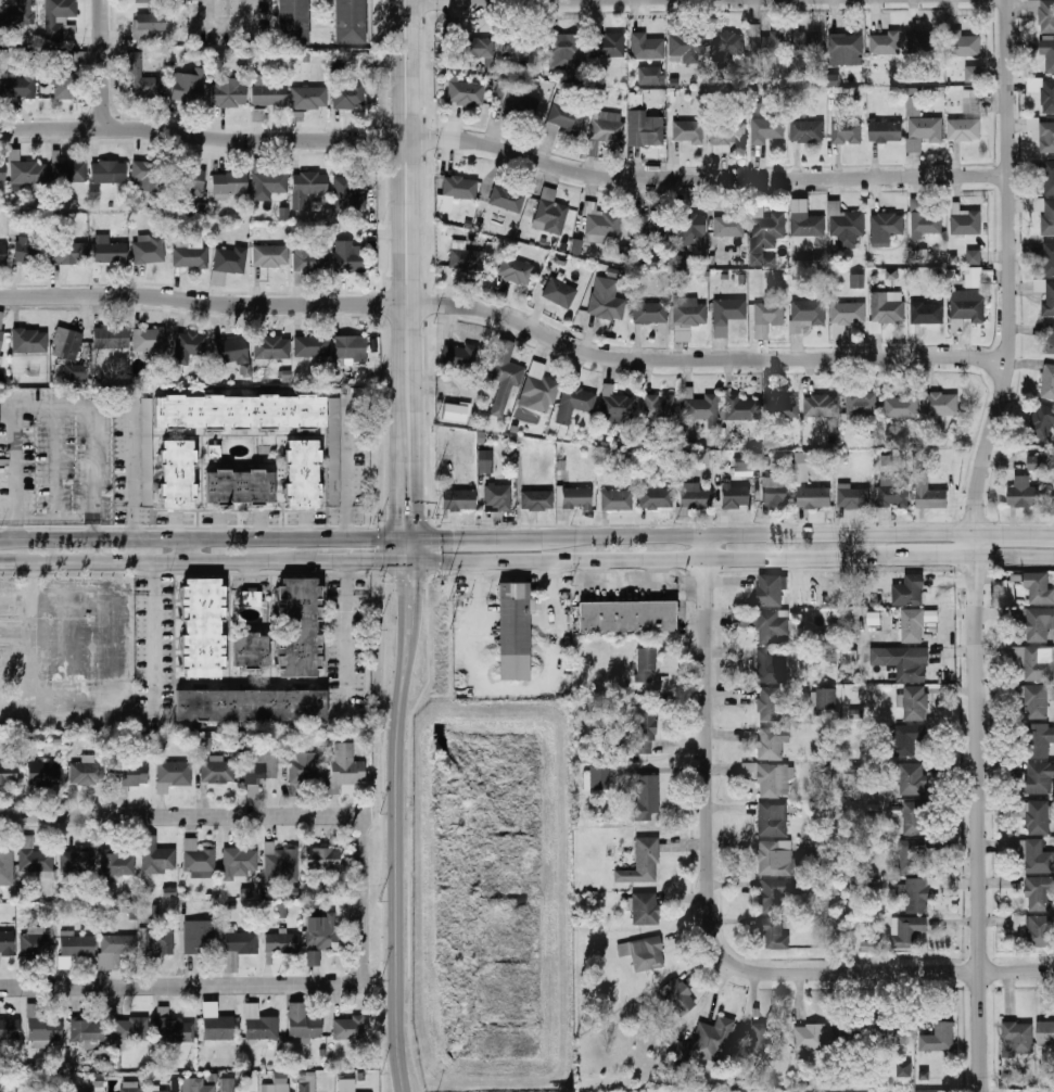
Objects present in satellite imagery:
road: (412, 0)
building: (144, 1)
building: (17, 12)
building: (1043, 13)
building: (60, 18)
building: (291, 18)
building: (347, 20)
road: (234, 26)
building: (149, 30)
building: (725, 41)
building: (805, 42)
building: (886, 42)
building: (926, 42)
building: (518, 43)
building: (846, 43)
building: (963, 43)
building: (607, 45)
building: (687, 45)
building: (766, 45)
building: (647, 47)
building: (463, 51)
building: (563, 51)
building: (1042, 56)
building: (3, 59)
road: (106, 64)
building: (973, 73)
building: (66, 75)
building: (651, 76)
building: (141, 79)
building: (18, 87)
building: (188, 88)
building: (1043, 91)
building: (229, 92)
building: (268, 92)
building: (466, 93)
building: (500, 93)
building: (348, 97)
building: (309, 98)
building: (520, 101)
building: (970, 101)
building: (258, 115)
building: (563, 116)
building: (920, 126)
building: (646, 129)
building: (769, 129)
building: (964, 129)
building: (608, 130)
building: (808, 130)
building: (887, 130)
building: (728, 131)
building: (689, 132)
building: (847, 132)
road: (201, 135)
building: (1046, 137)
building: (69, 172)
building: (2, 173)
building: (28, 173)
building: (109, 173)
building: (147, 173)
building: (1049, 177)
road: (701, 178)
building: (189, 181)
building: (230, 182)
building: (268, 183)
building: (308, 186)
building: (456, 192)
building: (347, 195)
building: (507, 199)
road: (403, 200)
building: (199, 208)
building: (550, 213)
building: (283, 214)
building: (1044, 214)
building: (924, 218)
building: (966, 221)
building: (605, 225)
building: (650, 226)
building: (728, 226)
building: (809, 226)
building: (847, 226)
building: (885, 228)
building: (690, 230)
building: (765, 230)
building: (576, 246)
building: (150, 250)
building: (109, 251)
building: (30, 253)
building: (3, 254)
building: (69, 254)
building: (190, 256)
building: (271, 256)
building: (974, 256)
building: (348, 257)
building: (466, 258)
building: (678, 258)
building: (1047, 258)
building: (231, 259)
building: (309, 259)
building: (516, 270)
building: (975, 277)
building: (218, 278)
building: (856, 280)
building: (560, 292)
building: (1050, 299)
road: (202, 302)
building: (606, 304)
building: (887, 306)
building: (968, 307)
building: (848, 312)
building: (927, 312)
building: (650, 313)
building: (690, 313)
building: (807, 313)
building: (727, 314)
building: (770, 314)
building: (1049, 338)
building: (111, 339)
building: (30, 342)
building: (149, 342)
building: (1, 346)
building: (313, 346)
building: (189, 347)
building: (271, 347)
building: (350, 350)
building: (232, 351)
building: (71, 353)
building: (459, 356)
road: (700, 358)
building: (245, 371)
building: (505, 376)
building: (1047, 382)
building: (538, 389)
building: (574, 402)
building: (862, 403)
building: (941, 404)
building: (660, 405)
building: (823, 406)
building: (902, 406)
building: (739, 407)
building: (783, 407)
building: (619, 408)
building: (701, 408)
building: (240, 412)
building: (455, 412)
road: (99, 415)
building: (1042, 421)
building: (334, 453)
building: (148, 456)
building: (1053, 457)
building: (761, 459)
road: (17, 460)
building: (886, 460)
building: (485, 461)
building: (1037, 462)
building: (809, 464)
road: (408, 470)
road: (348, 472)
building: (178, 474)
building: (303, 474)
road: (131, 475)
road: (59, 483)
building: (241, 488)
building: (894, 491)
building: (774, 492)
building: (1025, 492)
building: (929, 494)
building: (734, 495)
building: (695, 496)
building: (814, 496)
building: (854, 496)
building: (497, 498)
building: (575, 498)
building: (657, 498)
building: (459, 500)
building: (537, 500)
building: (617, 500)
road: (9, 510)
traffic signals: (409, 515)
road: (191, 529)
road: (1014, 533)
road: (770, 535)
road: (10, 538)
road: (215, 538)
road: (488, 539)
traffic signals: (443, 541)
road: (973, 544)
road: (383, 549)
road: (436, 550)
road: (191, 551)
road: (410, 551)
road: (634, 561)
road: (916, 561)
road: (1013, 561)
road: (145, 563)
road: (351, 563)
traffic signals: (377, 563)
road: (526, 572)
road: (152, 573)
road: (347, 574)
traffic signals: (409, 586)
building: (1039, 586)
building: (769, 589)
building: (909, 591)
building: (251, 599)
road: (409, 613)
building: (627, 617)
building: (874, 618)
building: (1039, 623)
building: (772, 625)
building: (913, 625)
building: (200, 627)
building: (300, 627)
building: (513, 632)
road: (347, 642)
road: (153, 646)
building: (252, 651)
building: (852, 656)
building: (907, 662)
building: (1036, 662)
building: (646, 664)
building: (770, 668)
road: (517, 688)
building: (827, 699)
building: (1037, 702)
building: (770, 703)
building: (915, 703)
building: (252, 706)
road: (706, 722)
building: (645, 734)
building: (904, 738)
building: (1040, 739)
building: (772, 742)
building: (203, 744)
building: (345, 765)
building: (303, 767)
building: (216, 770)
road: (659, 770)
building: (259, 771)
building: (8, 772)
building: (43, 772)
building: (129, 772)
building: (84, 773)
building: (173, 775)
building: (1039, 777)
building: (599, 778)
building: (912, 778)
building: (774, 779)
building: (645, 798)
road: (218, 815)
building: (1038, 816)
building: (914, 817)
building: (772, 820)
road: (384, 834)
road: (410, 835)
building: (1033, 855)
building: (155, 856)
building: (196, 856)
building: (34, 859)
building: (322, 859)
building: (778, 859)
building: (911, 859)
building: (77, 860)
building: (238, 862)
building: (117, 863)
building: (642, 863)
building: (279, 864)
building: (7, 867)
building: (202, 875)
road: (396, 878)
building: (1039, 892)
building: (779, 893)
building: (914, 894)
building: (643, 909)
building: (281, 911)
building: (1019, 923)
building: (905, 930)
building: (1039, 930)
building: (773, 934)
building: (200, 936)
building: (320, 936)
building: (7, 941)
building: (156, 941)
building: (240, 941)
building: (281, 942)
building: (36, 943)
building: (76, 944)
building: (871, 945)
building: (114, 950)
building: (643, 953)
road: (862, 972)
road: (218, 983)
building: (677, 996)
building: (302, 1023)
building: (216, 1024)
building: (258, 1025)
building: (347, 1027)
building: (173, 1028)
building: (9, 1029)
building: (41, 1029)
building: (129, 1030)
building: (1045, 1032)
building: (87, 1033)
building: (903, 1034)
building: (810, 1037)
building: (938, 1038)
building: (1017, 1038)
building: (709, 1041)
building: (764, 1042)
building: (903, 1069)
building: (924, 1075)
building: (280, 1077)
building: (227, 1084)
building: (195, 1085)
building: (345, 1085)
building: (130, 1087)
building: (304, 1087)
building: (268, 1088)
building: (89, 1091)
building: (157, 1091)

